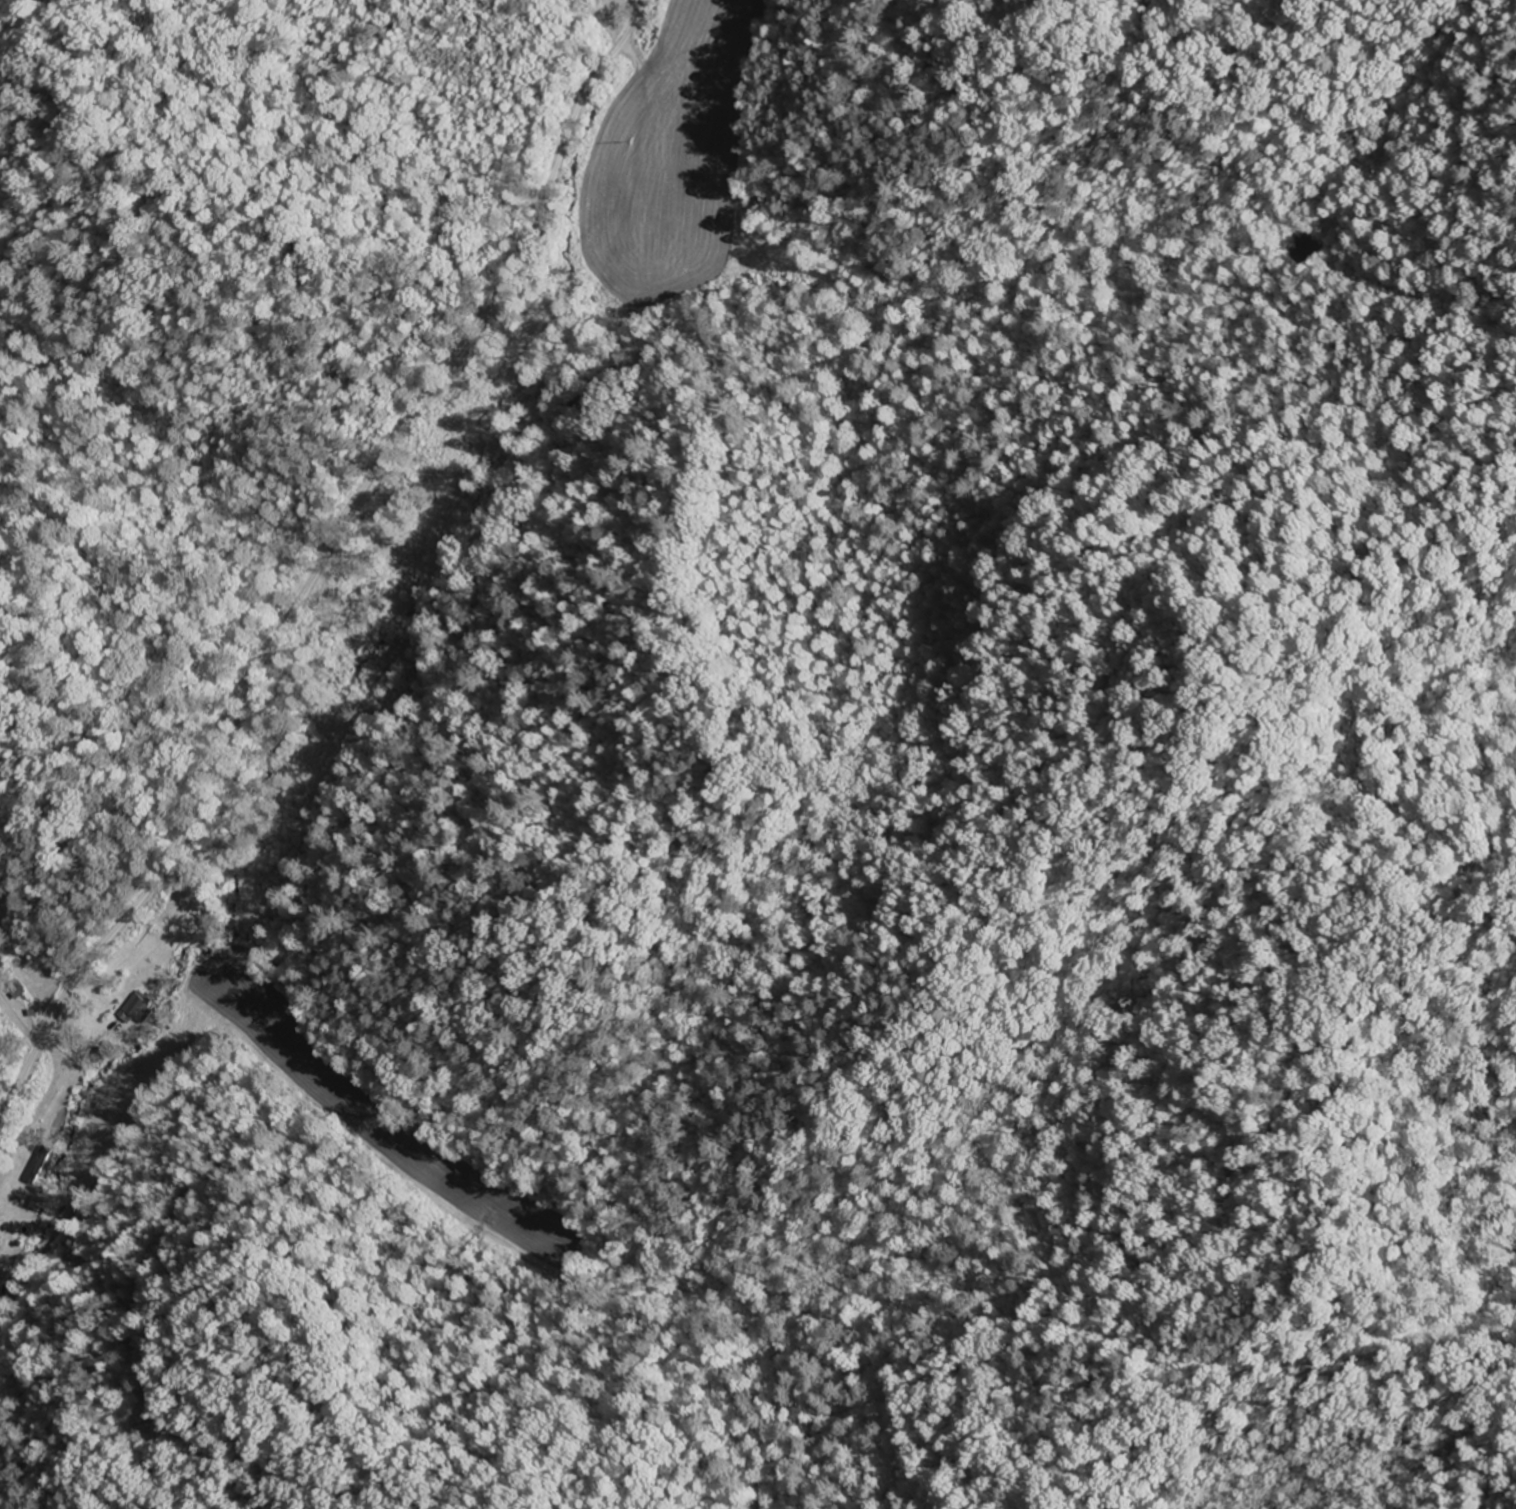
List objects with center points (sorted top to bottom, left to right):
road: (323, 563)
building: (138, 1010)
building: (40, 1166)

